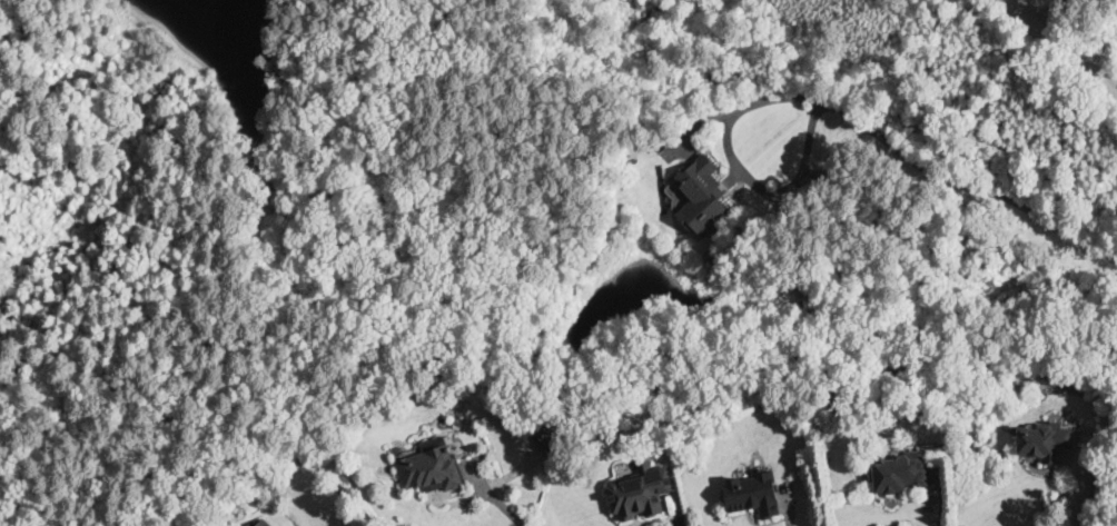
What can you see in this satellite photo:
road: (1061, 49)
road: (741, 170)
road: (966, 182)
building: (696, 197)
road: (278, 300)
building: (1039, 441)
building: (425, 468)
building: (894, 473)
road: (1081, 487)
building: (642, 490)
building: (747, 494)
road: (507, 507)
road: (675, 510)
building: (258, 523)

